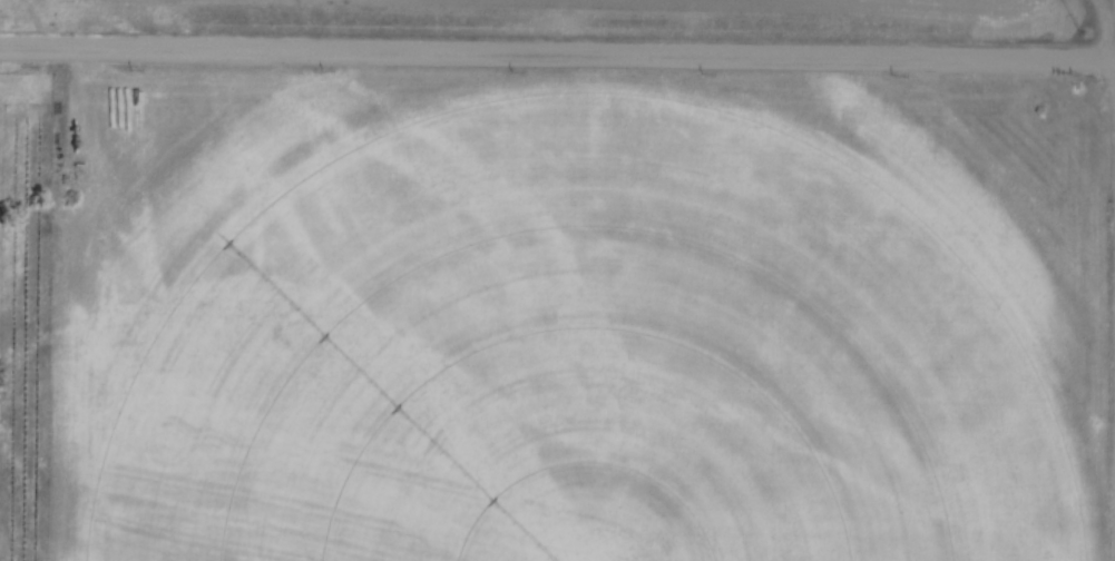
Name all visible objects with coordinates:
crop: (852, 6)
road: (557, 52)
crop: (595, 323)

